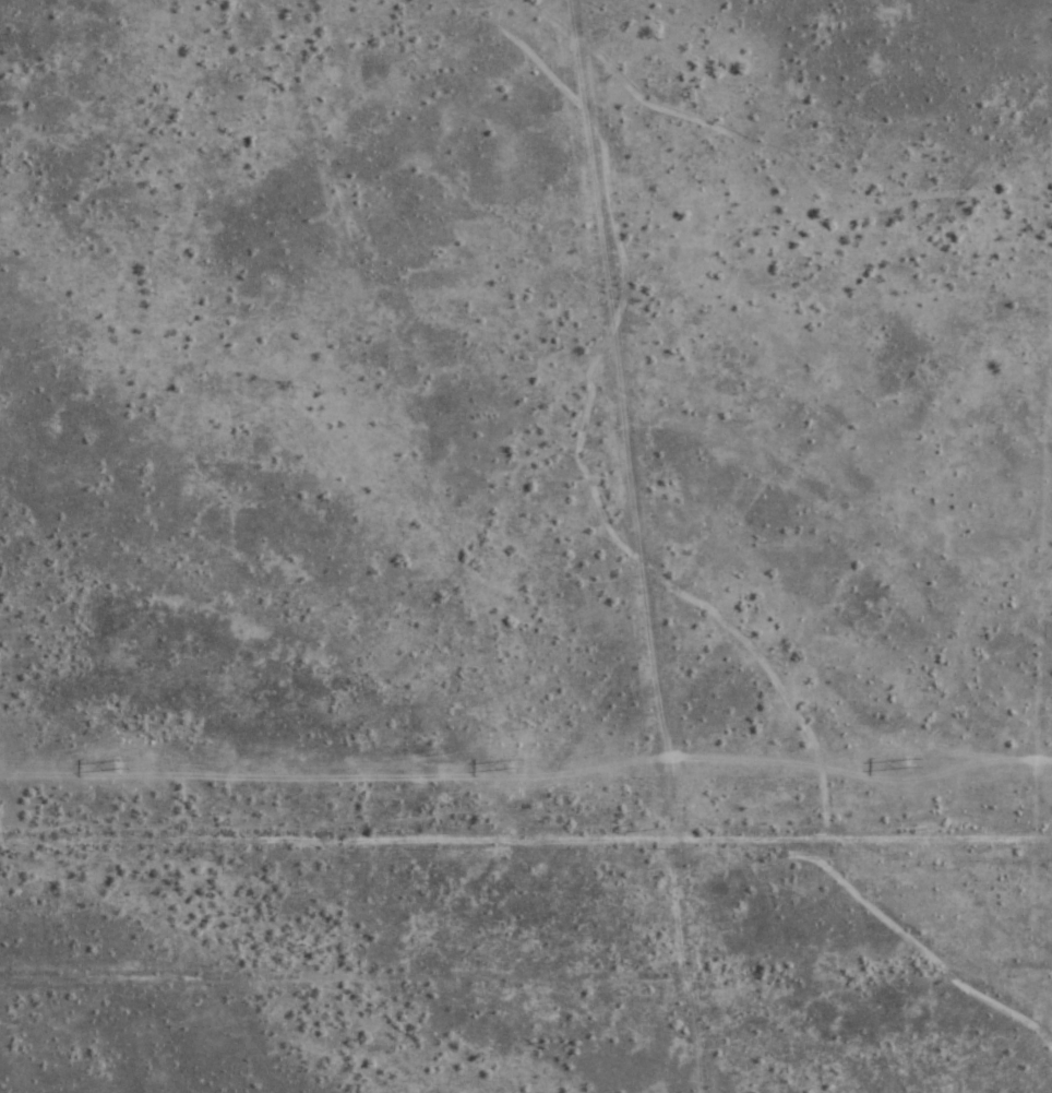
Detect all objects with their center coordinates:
power tower: (905, 763)
power tower: (124, 765)
power tower: (521, 767)

